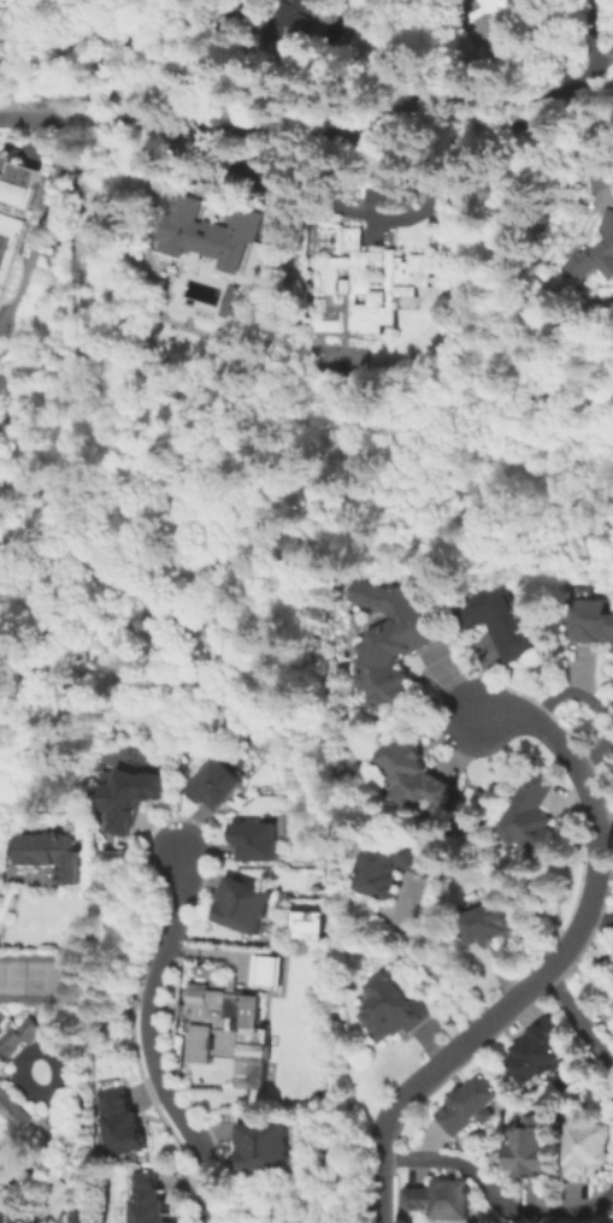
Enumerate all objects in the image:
building: (506, 19)
building: (294, 23)
road: (204, 125)
road: (26, 141)
building: (19, 181)
building: (609, 223)
building: (213, 230)
building: (595, 260)
building: (390, 280)
building: (241, 302)
building: (238, 336)
building: (506, 618)
building: (590, 618)
building: (399, 639)
road: (601, 702)
building: (423, 775)
building: (218, 786)
building: (132, 798)
building: (537, 820)
building: (260, 843)
building: (57, 857)
building: (388, 865)
building: (0, 868)
road: (179, 872)
building: (247, 908)
building: (496, 922)
building: (307, 923)
road: (165, 950)
road: (424, 963)
road: (556, 963)
building: (264, 969)
park: (29, 975)
street lamp: (136, 1003)
building: (391, 1008)
road: (579, 1015)
building: (223, 1016)
building: (537, 1052)
building: (5, 1067)
building: (470, 1104)
road: (182, 1116)
building: (124, 1124)
building: (267, 1150)
building: (593, 1150)
building: (536, 1151)
road: (495, 1190)
building: (441, 1198)
building: (151, 1200)

